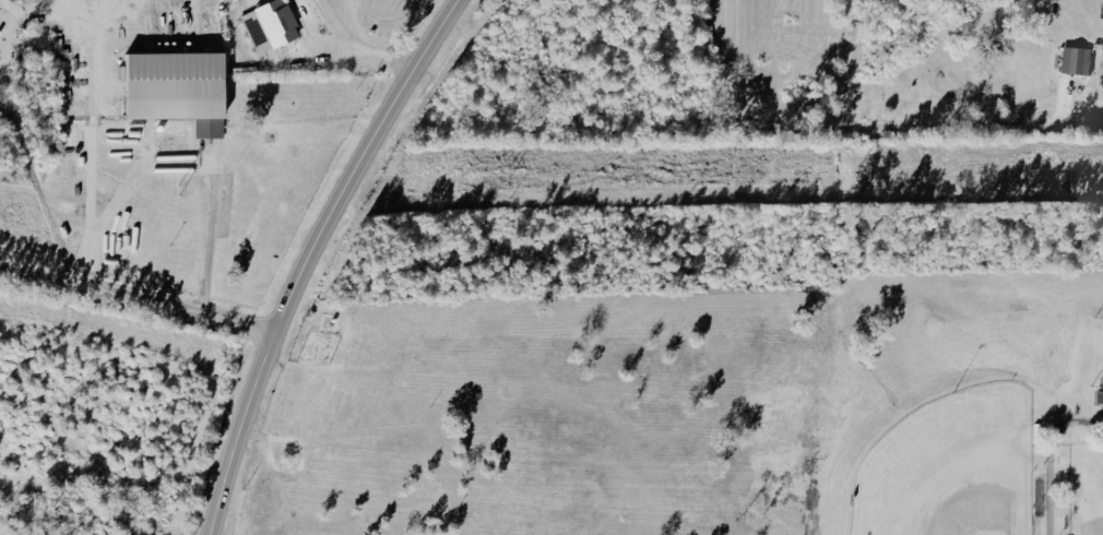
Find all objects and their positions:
building: (270, 25)
road: (361, 47)
building: (1076, 60)
road: (331, 73)
building: (176, 88)
road: (854, 129)
road: (98, 146)
road: (211, 174)
power tower: (846, 182)
power tower: (510, 185)
power tower: (169, 191)
road: (313, 258)
road: (140, 307)
building: (1100, 397)

